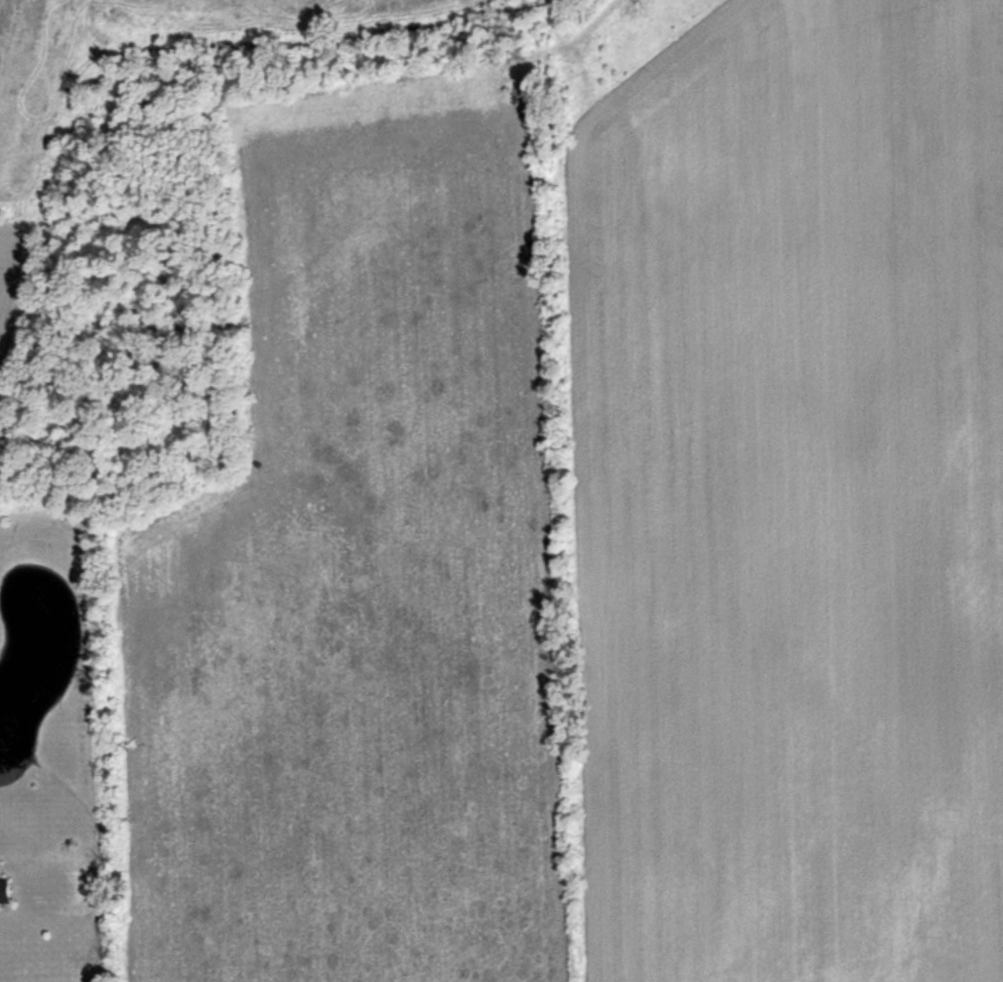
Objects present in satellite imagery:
building: (8, 887)

